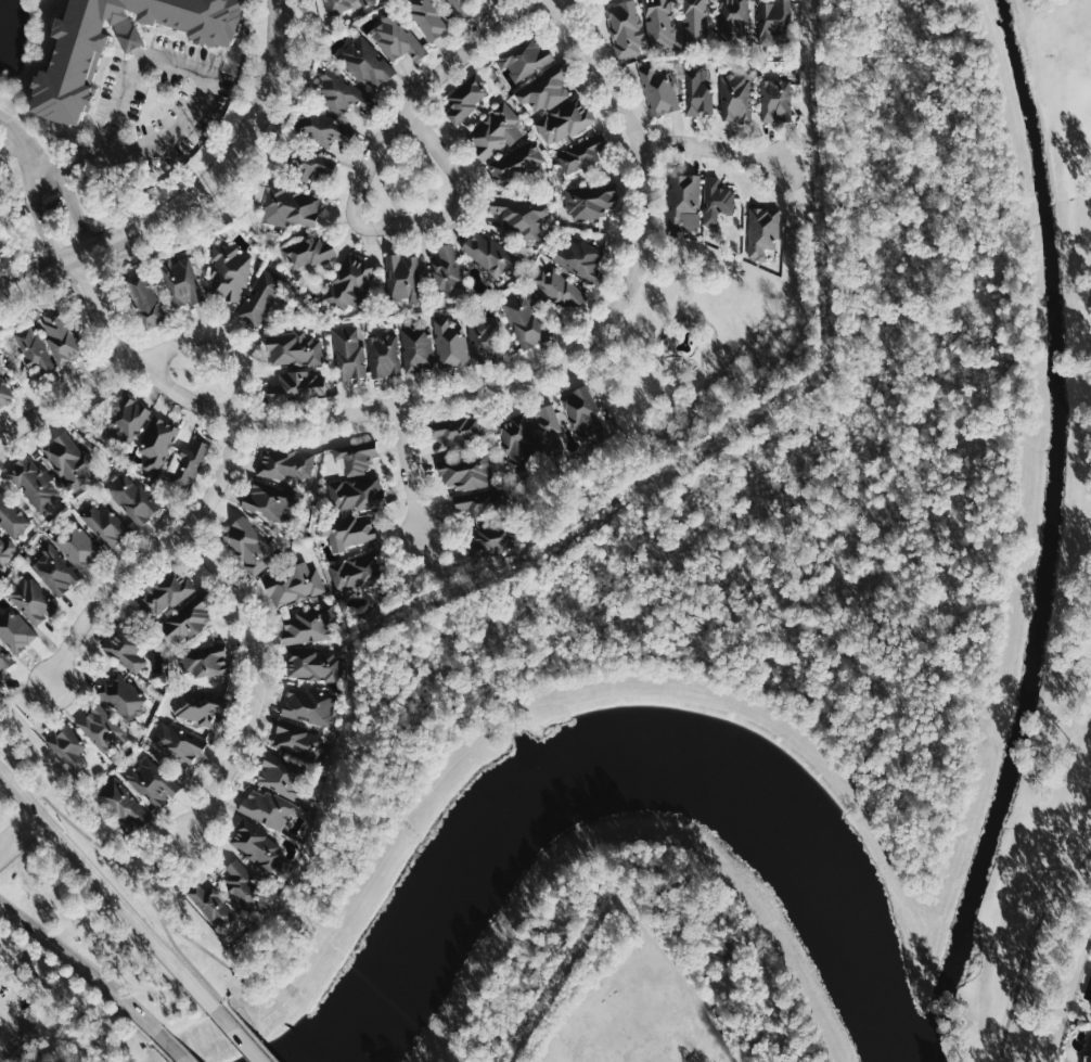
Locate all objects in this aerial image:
building: (364, 1)
building: (335, 5)
building: (461, 7)
building: (429, 16)
building: (772, 18)
building: (732, 22)
building: (659, 24)
building: (694, 24)
building: (624, 27)
building: (396, 35)
road: (477, 46)
building: (524, 55)
building: (74, 60)
building: (368, 62)
road: (600, 73)
road: (205, 86)
building: (545, 88)
building: (658, 90)
building: (338, 91)
building: (696, 92)
building: (466, 95)
building: (734, 97)
building: (775, 100)
building: (564, 120)
building: (320, 127)
building: (495, 130)
road: (20, 136)
road: (11, 144)
road: (714, 150)
building: (582, 154)
building: (307, 162)
building: (515, 163)
road: (361, 179)
road: (198, 197)
building: (716, 199)
road: (73, 201)
building: (590, 201)
building: (682, 201)
building: (292, 208)
road: (211, 209)
building: (517, 215)
road: (39, 216)
building: (761, 230)
building: (307, 251)
building: (488, 252)
building: (577, 257)
building: (224, 270)
building: (448, 270)
building: (402, 278)
building: (180, 282)
building: (350, 282)
building: (557, 289)
building: (258, 296)
building: (143, 299)
road: (121, 316)
building: (525, 319)
road: (662, 323)
road: (95, 330)
building: (59, 335)
building: (484, 335)
road: (223, 340)
building: (451, 341)
building: (418, 347)
building: (293, 348)
building: (29, 349)
building: (348, 353)
building: (384, 355)
building: (297, 385)
building: (3, 393)
road: (64, 399)
road: (400, 402)
building: (582, 413)
building: (127, 419)
building: (453, 431)
building: (545, 431)
building: (157, 442)
building: (516, 442)
building: (354, 457)
building: (70, 460)
building: (284, 461)
building: (189, 464)
building: (466, 471)
road: (408, 473)
building: (34, 483)
building: (357, 494)
building: (133, 499)
building: (269, 500)
building: (480, 501)
building: (12, 516)
building: (106, 524)
building: (348, 529)
building: (491, 538)
building: (247, 542)
building: (79, 546)
building: (4, 551)
road: (154, 556)
building: (55, 567)
building: (360, 571)
building: (293, 586)
building: (164, 592)
building: (33, 599)
park: (1043, 602)
building: (188, 617)
building: (309, 625)
building: (16, 629)
building: (124, 648)
building: (4, 660)
building: (205, 661)
building: (310, 663)
road: (255, 677)
building: (123, 694)
building: (198, 704)
building: (308, 704)
building: (101, 727)
building: (298, 741)
building: (179, 742)
building: (70, 747)
building: (283, 776)
building: (153, 781)
building: (123, 803)
building: (266, 806)
road: (18, 831)
building: (254, 844)
road: (114, 855)
building: (242, 885)
road: (108, 891)
building: (211, 905)
road: (1026, 948)
road: (224, 963)
road: (82, 968)
road: (79, 984)
road: (73, 1005)
parking lot: (13, 1019)
road: (15, 1019)
road: (251, 1032)
road: (259, 1033)
road: (242, 1036)
road: (176, 1049)
park: (605, 1049)
road: (162, 1052)
building: (1087, 1058)

